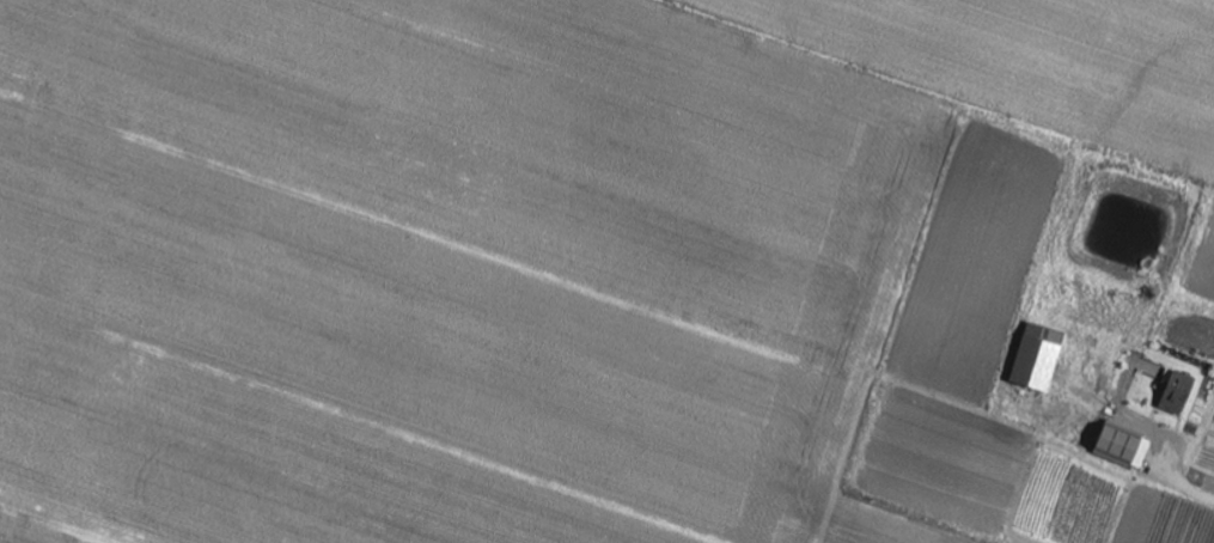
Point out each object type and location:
building: (1039, 359)
building: (1179, 393)

